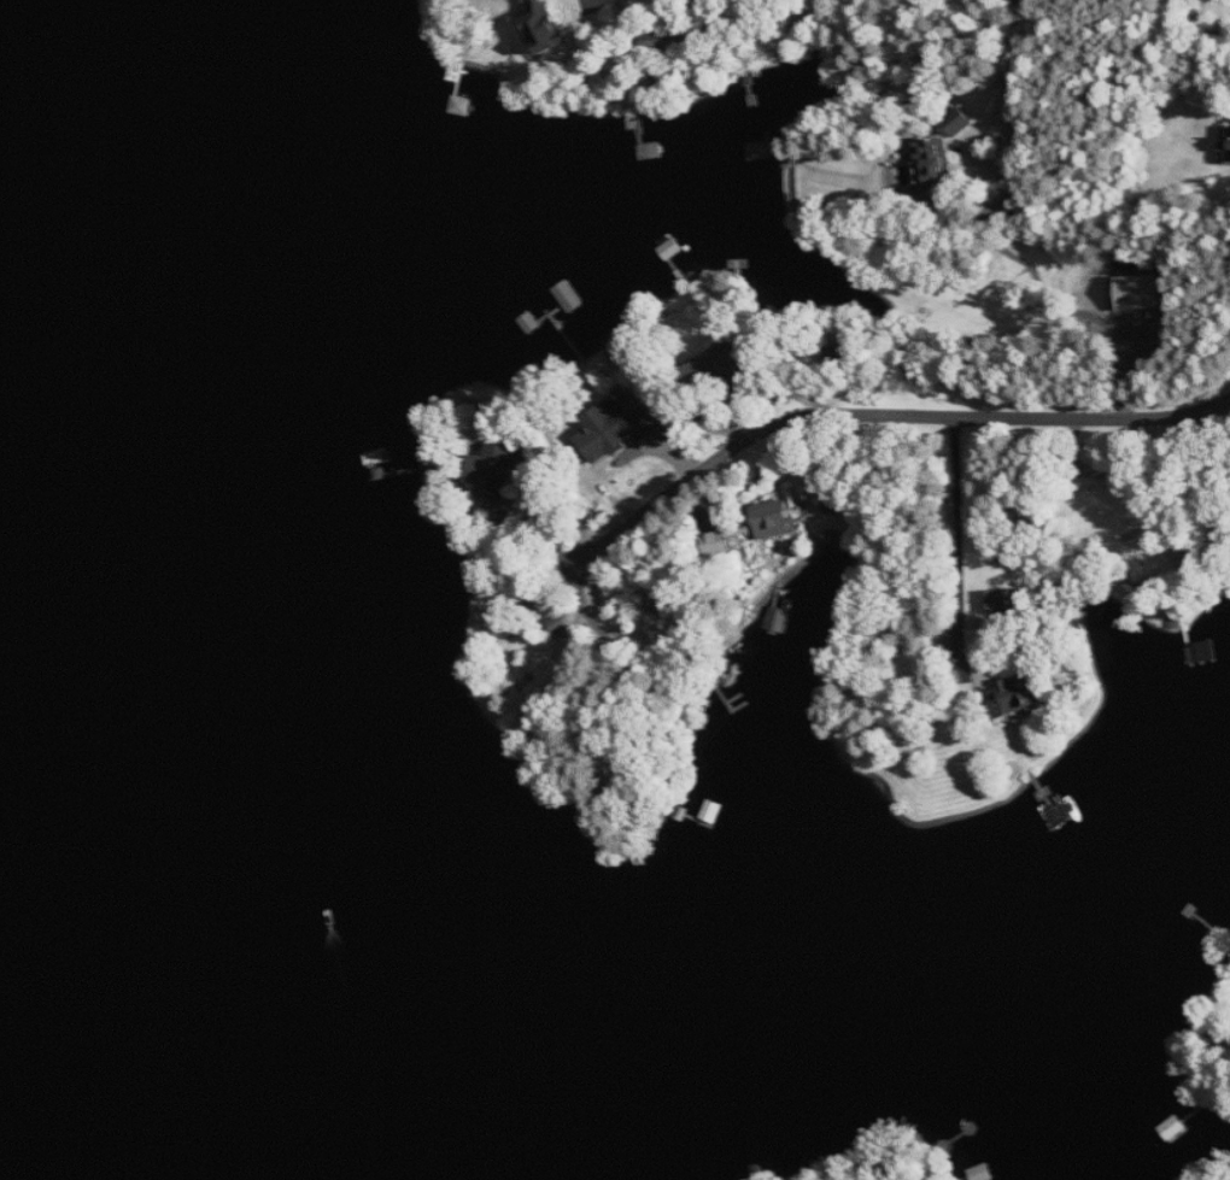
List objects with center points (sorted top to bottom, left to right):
building: (547, 27)
road: (1012, 70)
building: (1228, 149)
building: (935, 171)
building: (1140, 292)
building: (626, 351)
building: (840, 356)
building: (719, 368)
road: (880, 419)
building: (617, 428)
building: (500, 470)
road: (745, 485)
building: (780, 515)
road: (961, 519)
building: (719, 546)
building: (1007, 600)
building: (1021, 694)

